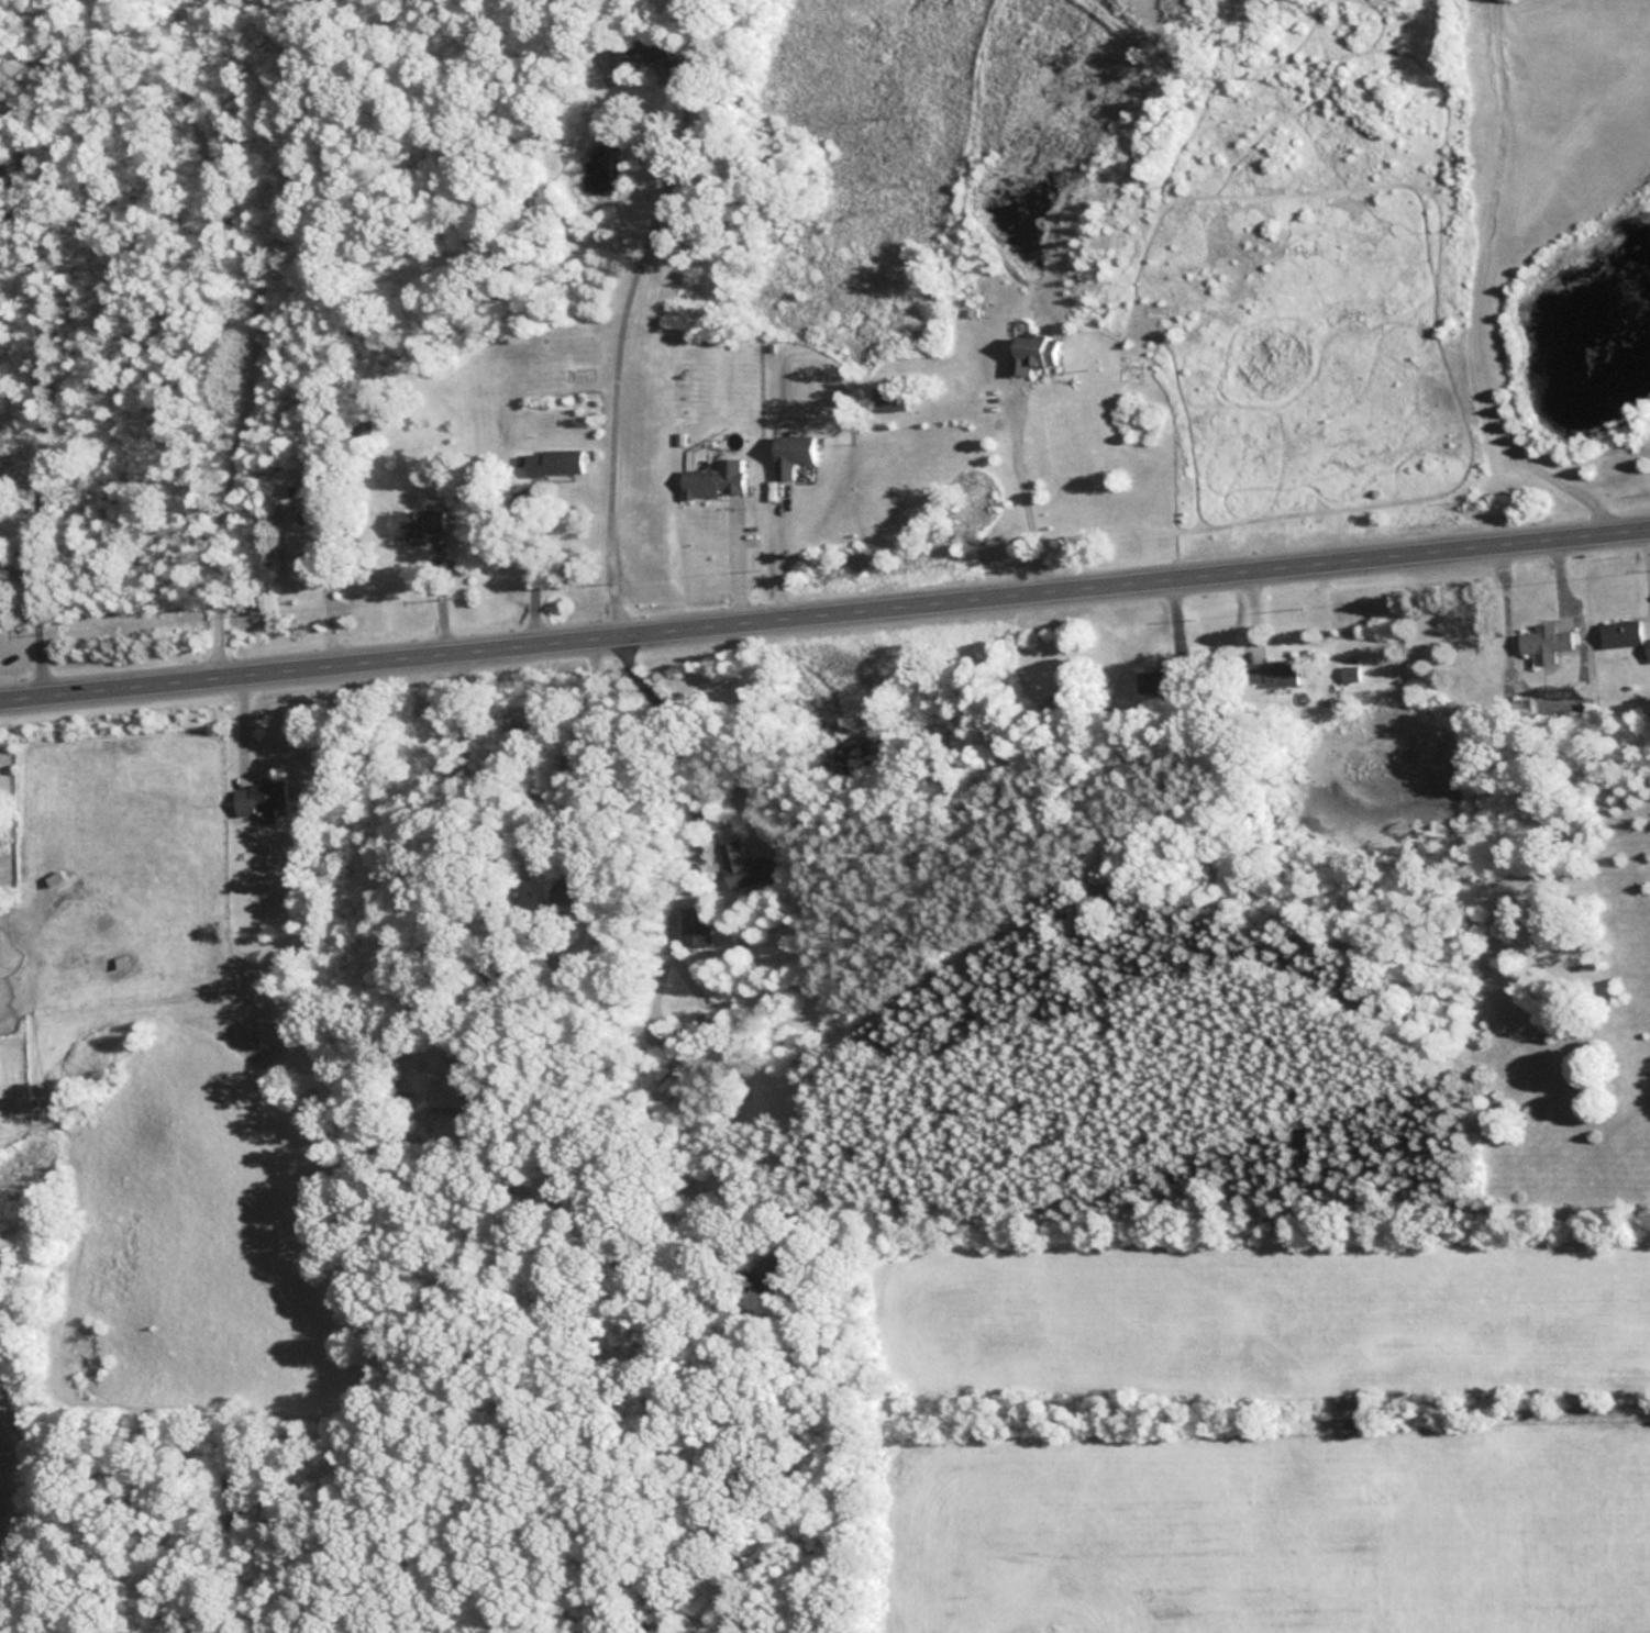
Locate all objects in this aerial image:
road: (1473, 290)
road: (619, 333)
building: (1029, 353)
building: (888, 398)
building: (790, 453)
building: (553, 463)
building: (713, 480)
road: (1022, 485)
building: (417, 523)
building: (301, 551)
road: (824, 603)
building: (1621, 632)
building: (1546, 643)
building: (1648, 647)
building: (1274, 673)
building: (262, 799)
building: (750, 866)
building: (696, 925)
building: (462, 1096)

